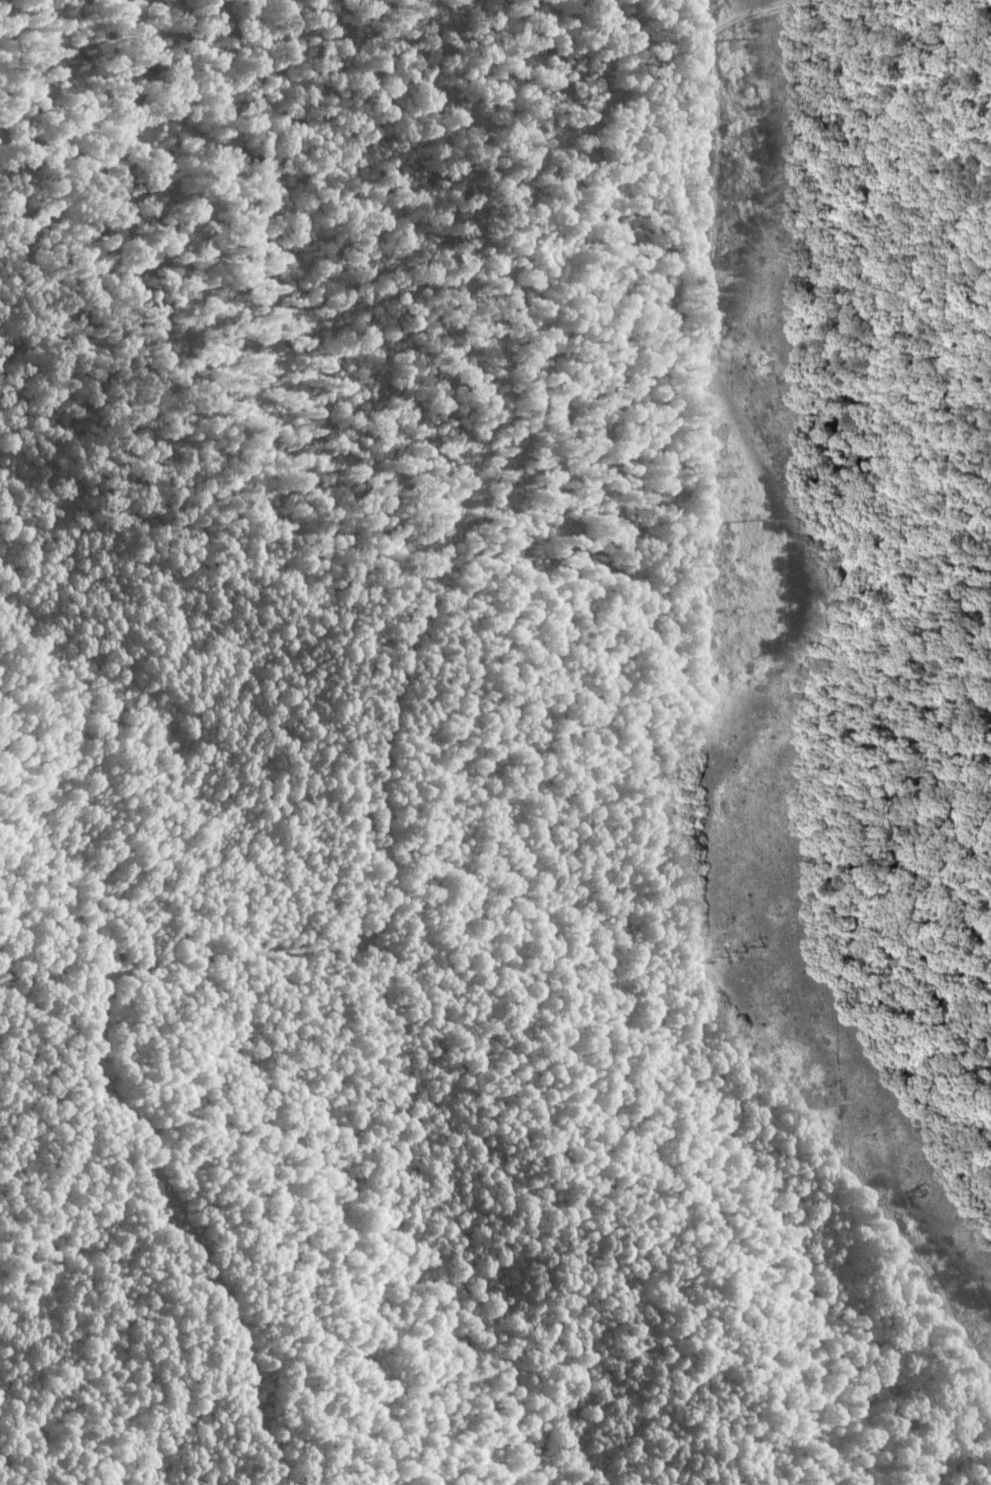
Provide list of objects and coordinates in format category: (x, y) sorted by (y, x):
road: (985, 1)
power tower: (750, 39)
road: (687, 50)
power tower: (751, 522)
power tower: (750, 949)
power tower: (918, 1200)

